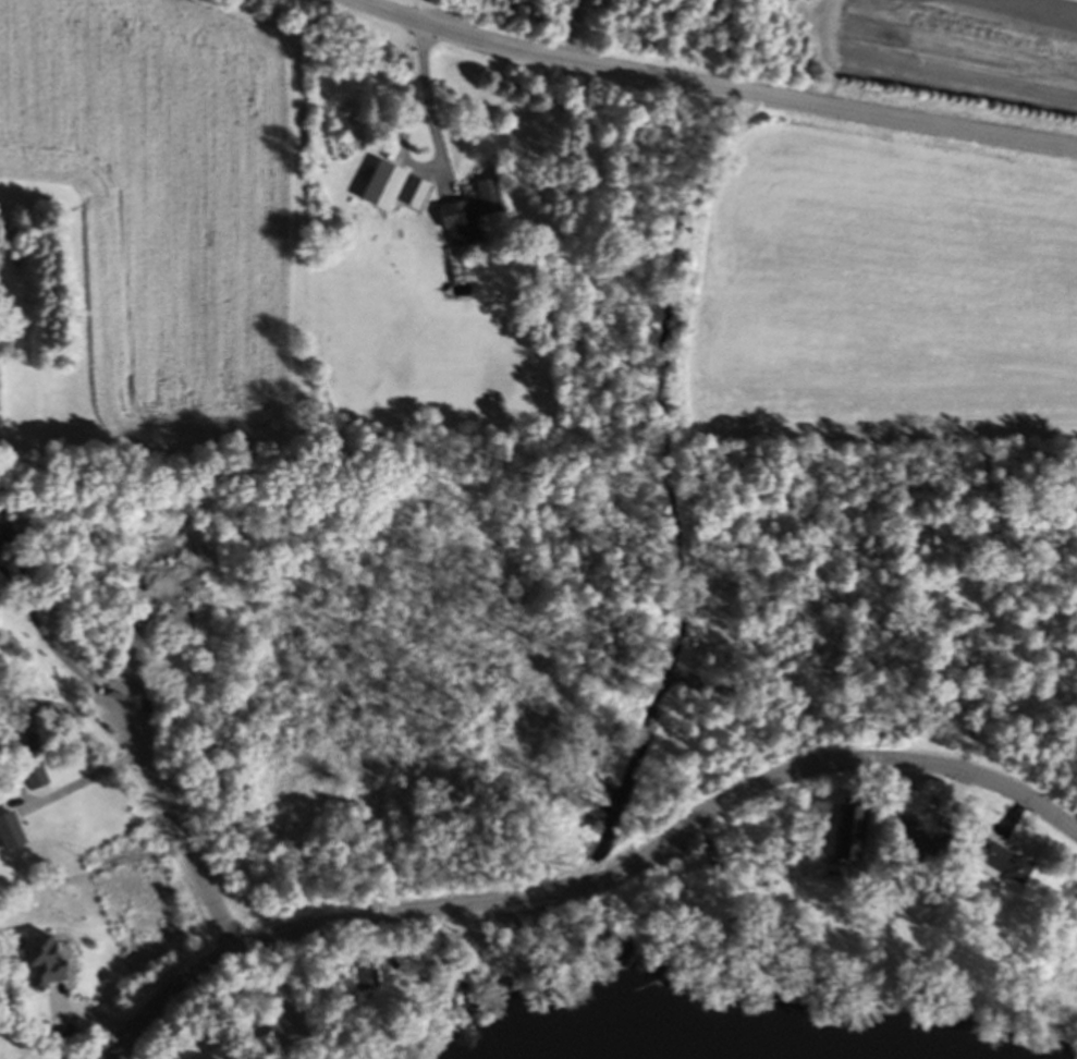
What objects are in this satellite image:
road: (448, 14)
road: (574, 32)
road: (710, 92)
road: (432, 104)
building: (384, 190)
building: (470, 218)
building: (191, 556)
road: (48, 642)
road: (60, 706)
building: (36, 781)
road: (88, 782)
road: (186, 833)
building: (11, 835)
building: (848, 835)
building: (1006, 867)
road: (604, 879)
building: (42, 965)
building: (268, 1048)

